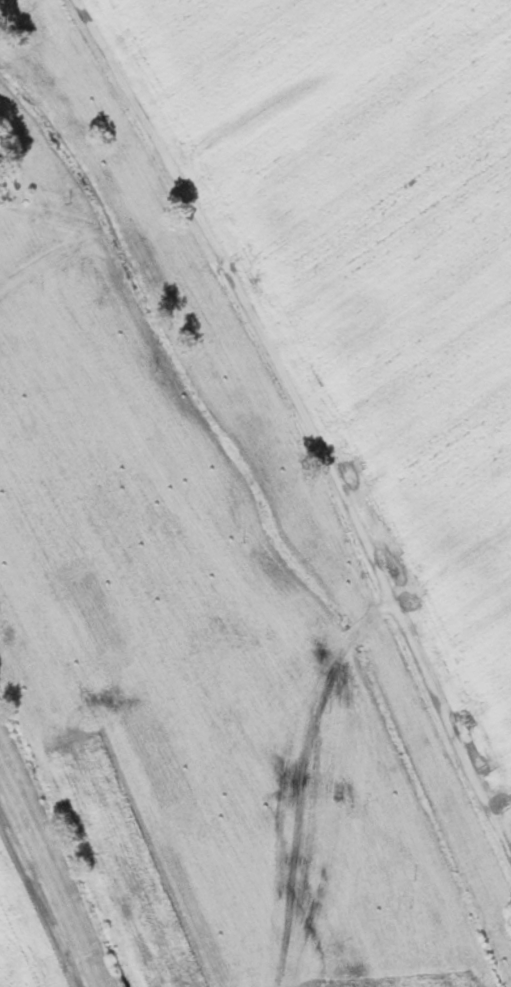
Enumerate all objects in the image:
road: (307, 420)
road: (271, 984)

